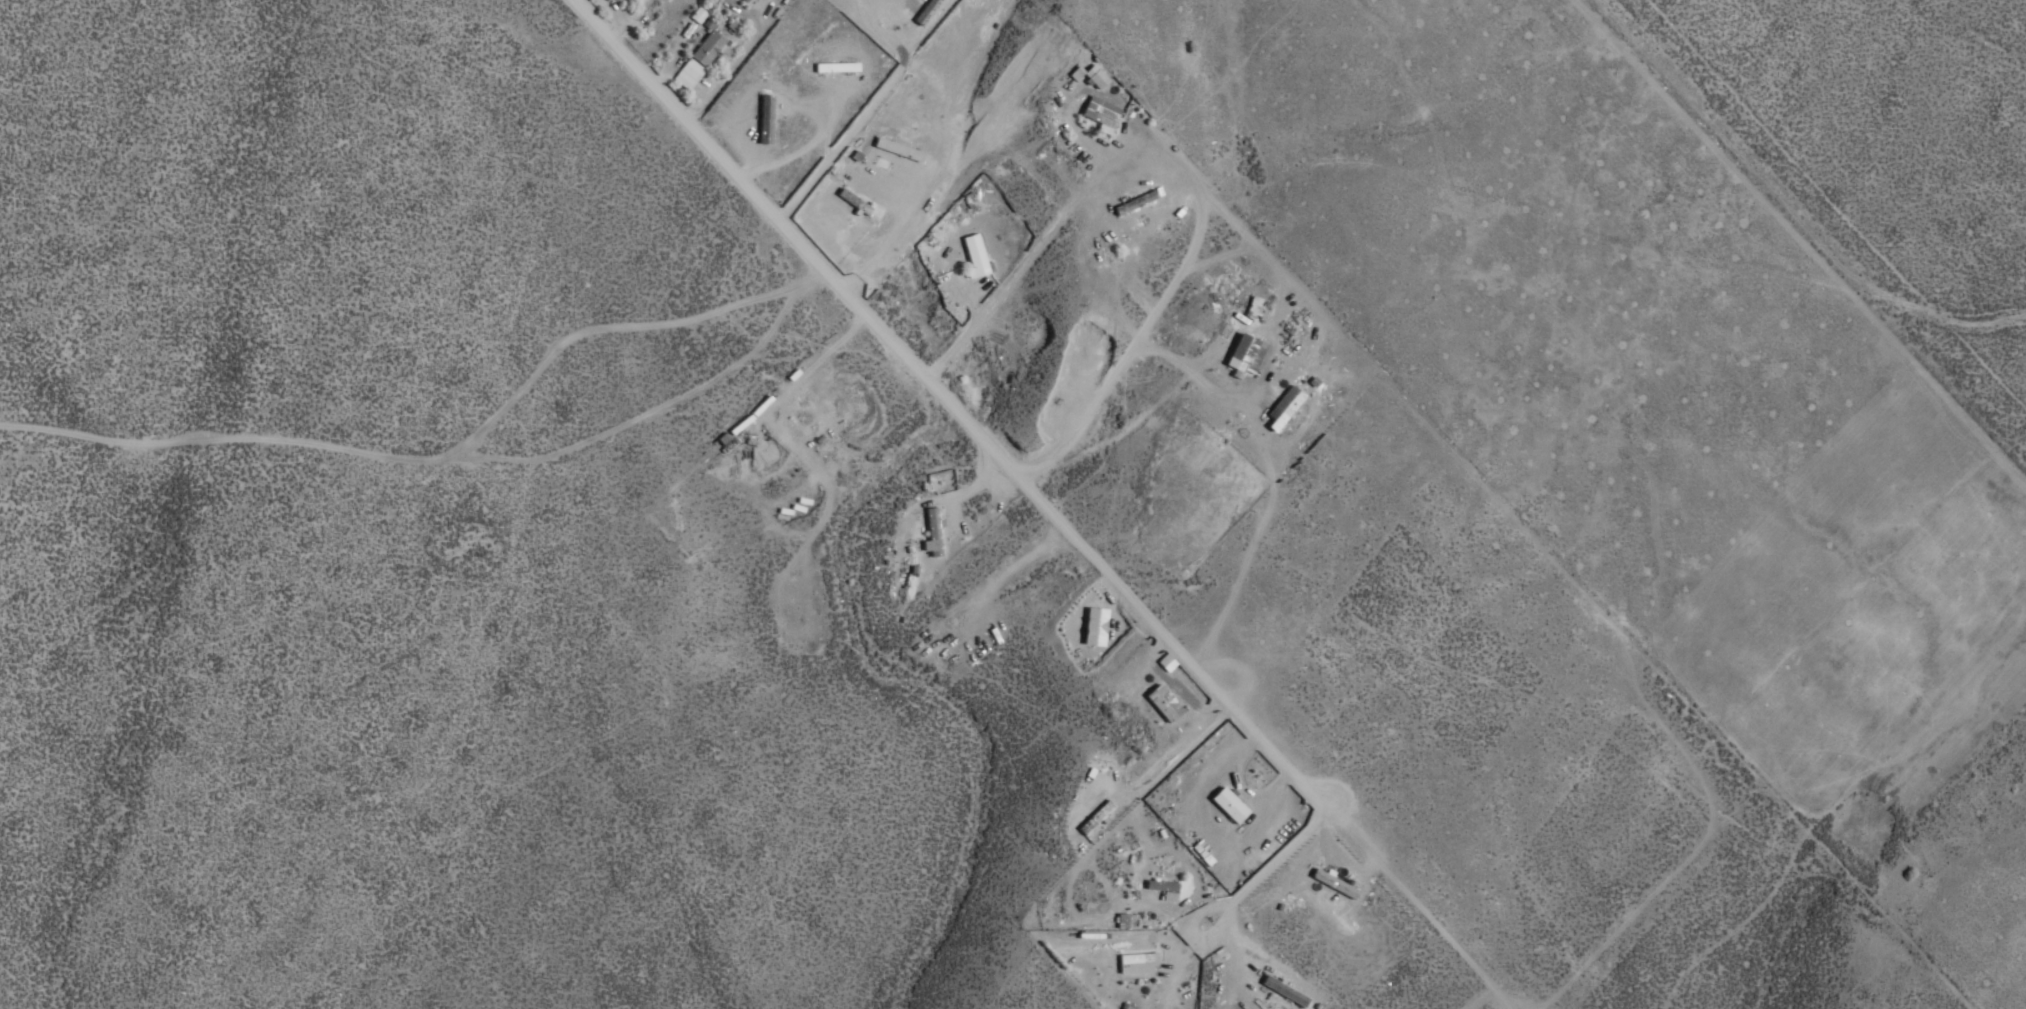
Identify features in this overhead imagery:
building: (747, 0)
building: (927, 11)
building: (697, 13)
building: (707, 47)
building: (836, 66)
building: (1077, 73)
building: (688, 74)
building: (1097, 76)
building: (1102, 111)
building: (766, 119)
building: (900, 149)
road: (795, 241)
building: (975, 255)
building: (1242, 354)
building: (929, 532)
building: (1092, 626)
building: (1160, 703)
building: (1226, 804)
building: (1331, 883)
building: (1160, 888)
building: (1133, 963)
building: (1281, 990)

